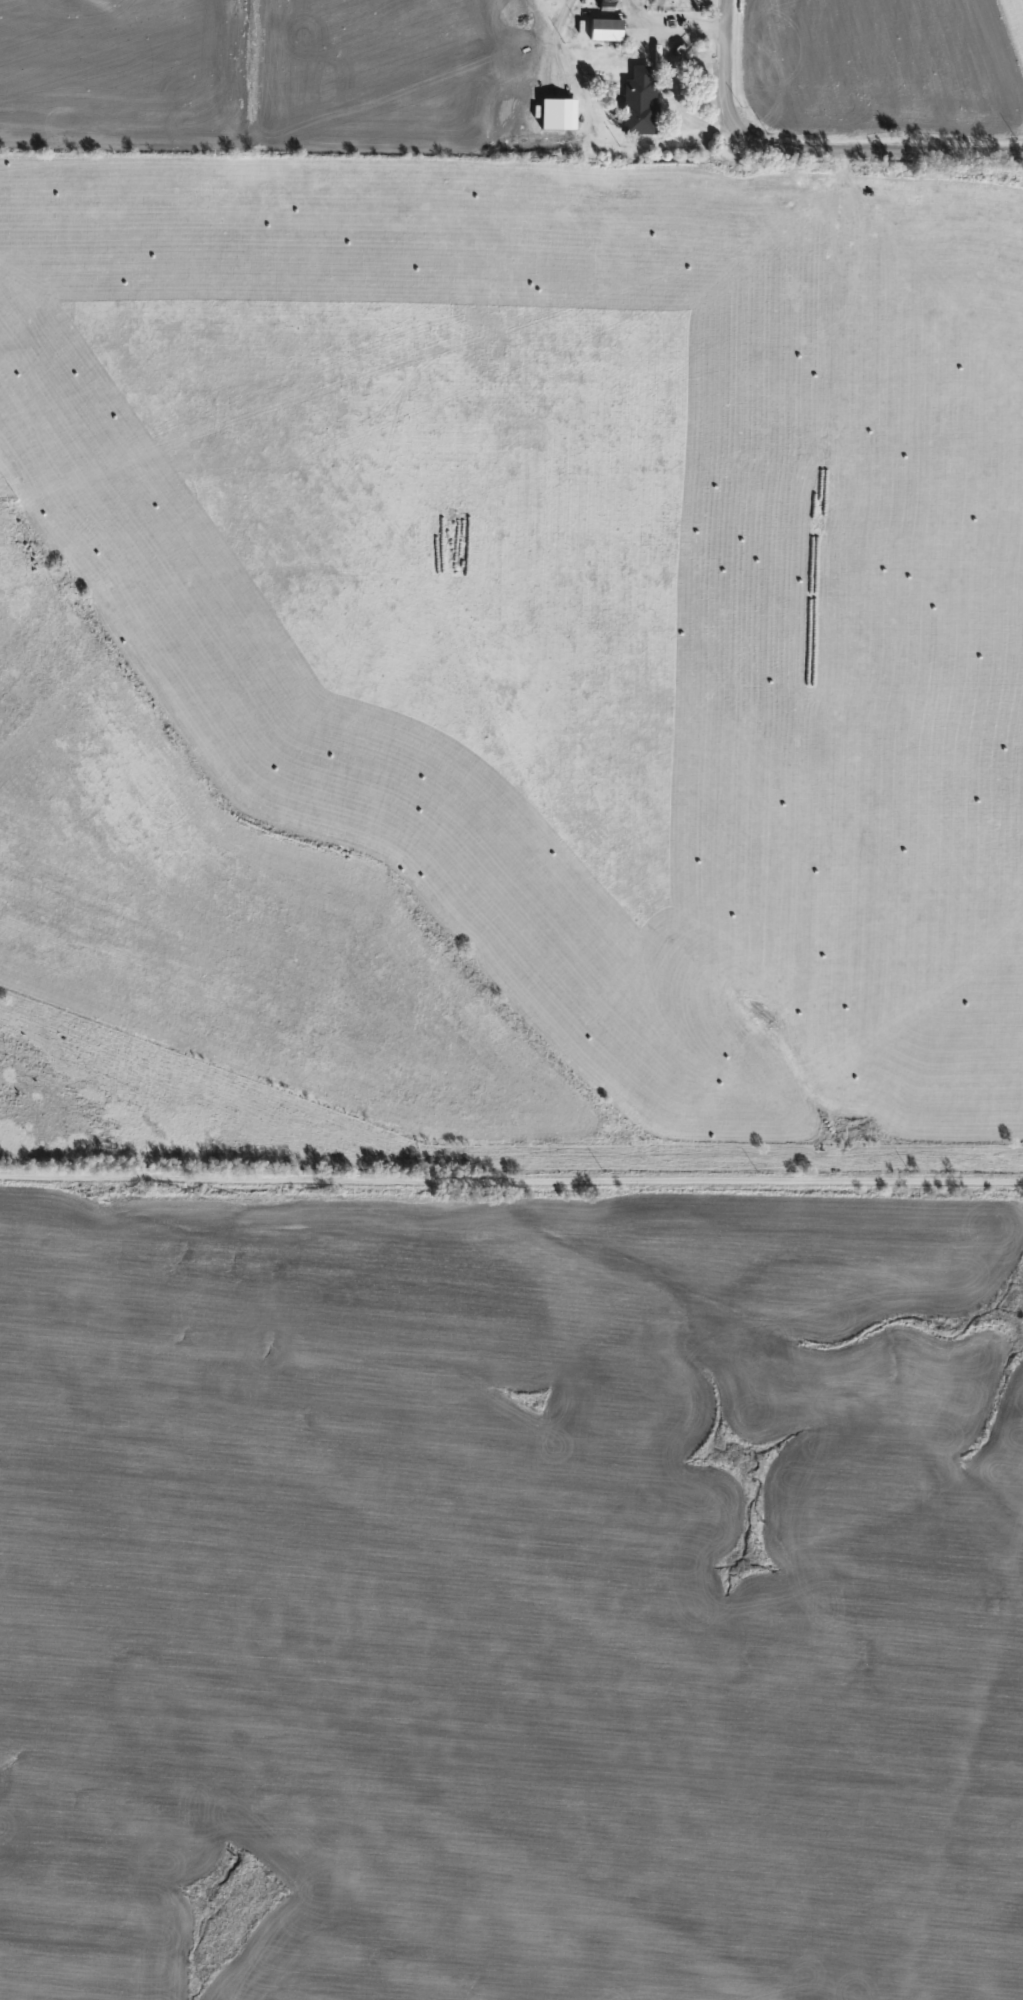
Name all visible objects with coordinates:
road: (671, 26)
building: (603, 29)
building: (636, 103)
road: (813, 152)
road: (511, 1179)

